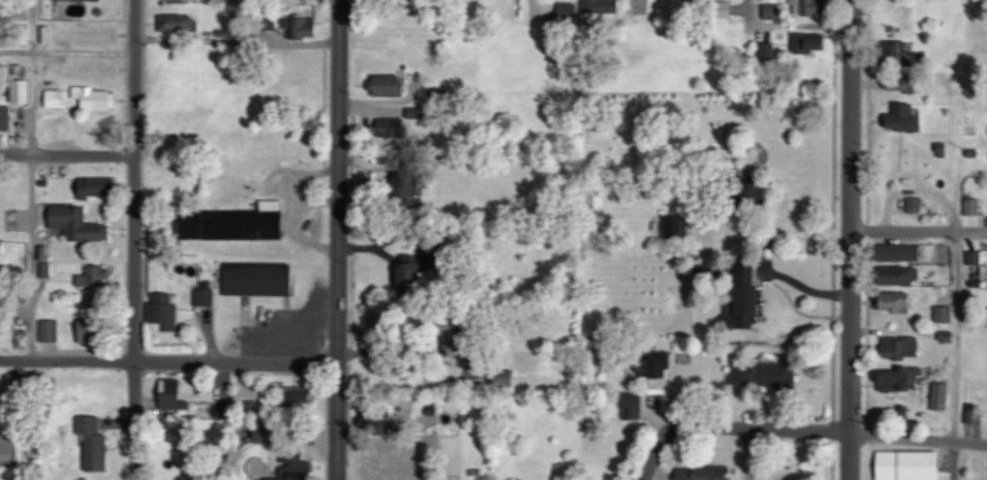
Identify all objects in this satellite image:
building: (78, 0)
road: (637, 4)
road: (531, 6)
building: (602, 7)
building: (811, 7)
building: (569, 11)
building: (179, 24)
road: (793, 24)
building: (301, 29)
building: (0, 35)
building: (810, 43)
building: (766, 51)
road: (68, 53)
building: (896, 53)
building: (48, 72)
building: (903, 83)
building: (390, 86)
building: (21, 92)
building: (55, 99)
building: (99, 100)
building: (907, 119)
building: (5, 121)
building: (393, 129)
road: (68, 153)
road: (33, 179)
building: (410, 187)
building: (99, 188)
building: (973, 208)
building: (236, 224)
building: (79, 225)
building: (677, 227)
road: (915, 231)
road: (780, 232)
road: (136, 239)
road: (844, 239)
road: (339, 240)
building: (1, 248)
building: (901, 253)
building: (899, 275)
building: (98, 278)
building: (259, 282)
building: (205, 298)
building: (746, 299)
building: (895, 302)
building: (163, 313)
building: (945, 314)
building: (93, 330)
building: (50, 331)
building: (454, 334)
road: (957, 337)
building: (901, 348)
road: (168, 360)
road: (407, 364)
building: (656, 365)
building: (765, 375)
building: (897, 380)
building: (176, 395)
building: (302, 395)
building: (633, 406)
road: (237, 421)
road: (730, 428)
building: (267, 432)
road: (918, 438)
building: (96, 447)
building: (376, 452)
road: (743, 455)
road: (956, 461)
building: (294, 464)
building: (705, 473)

